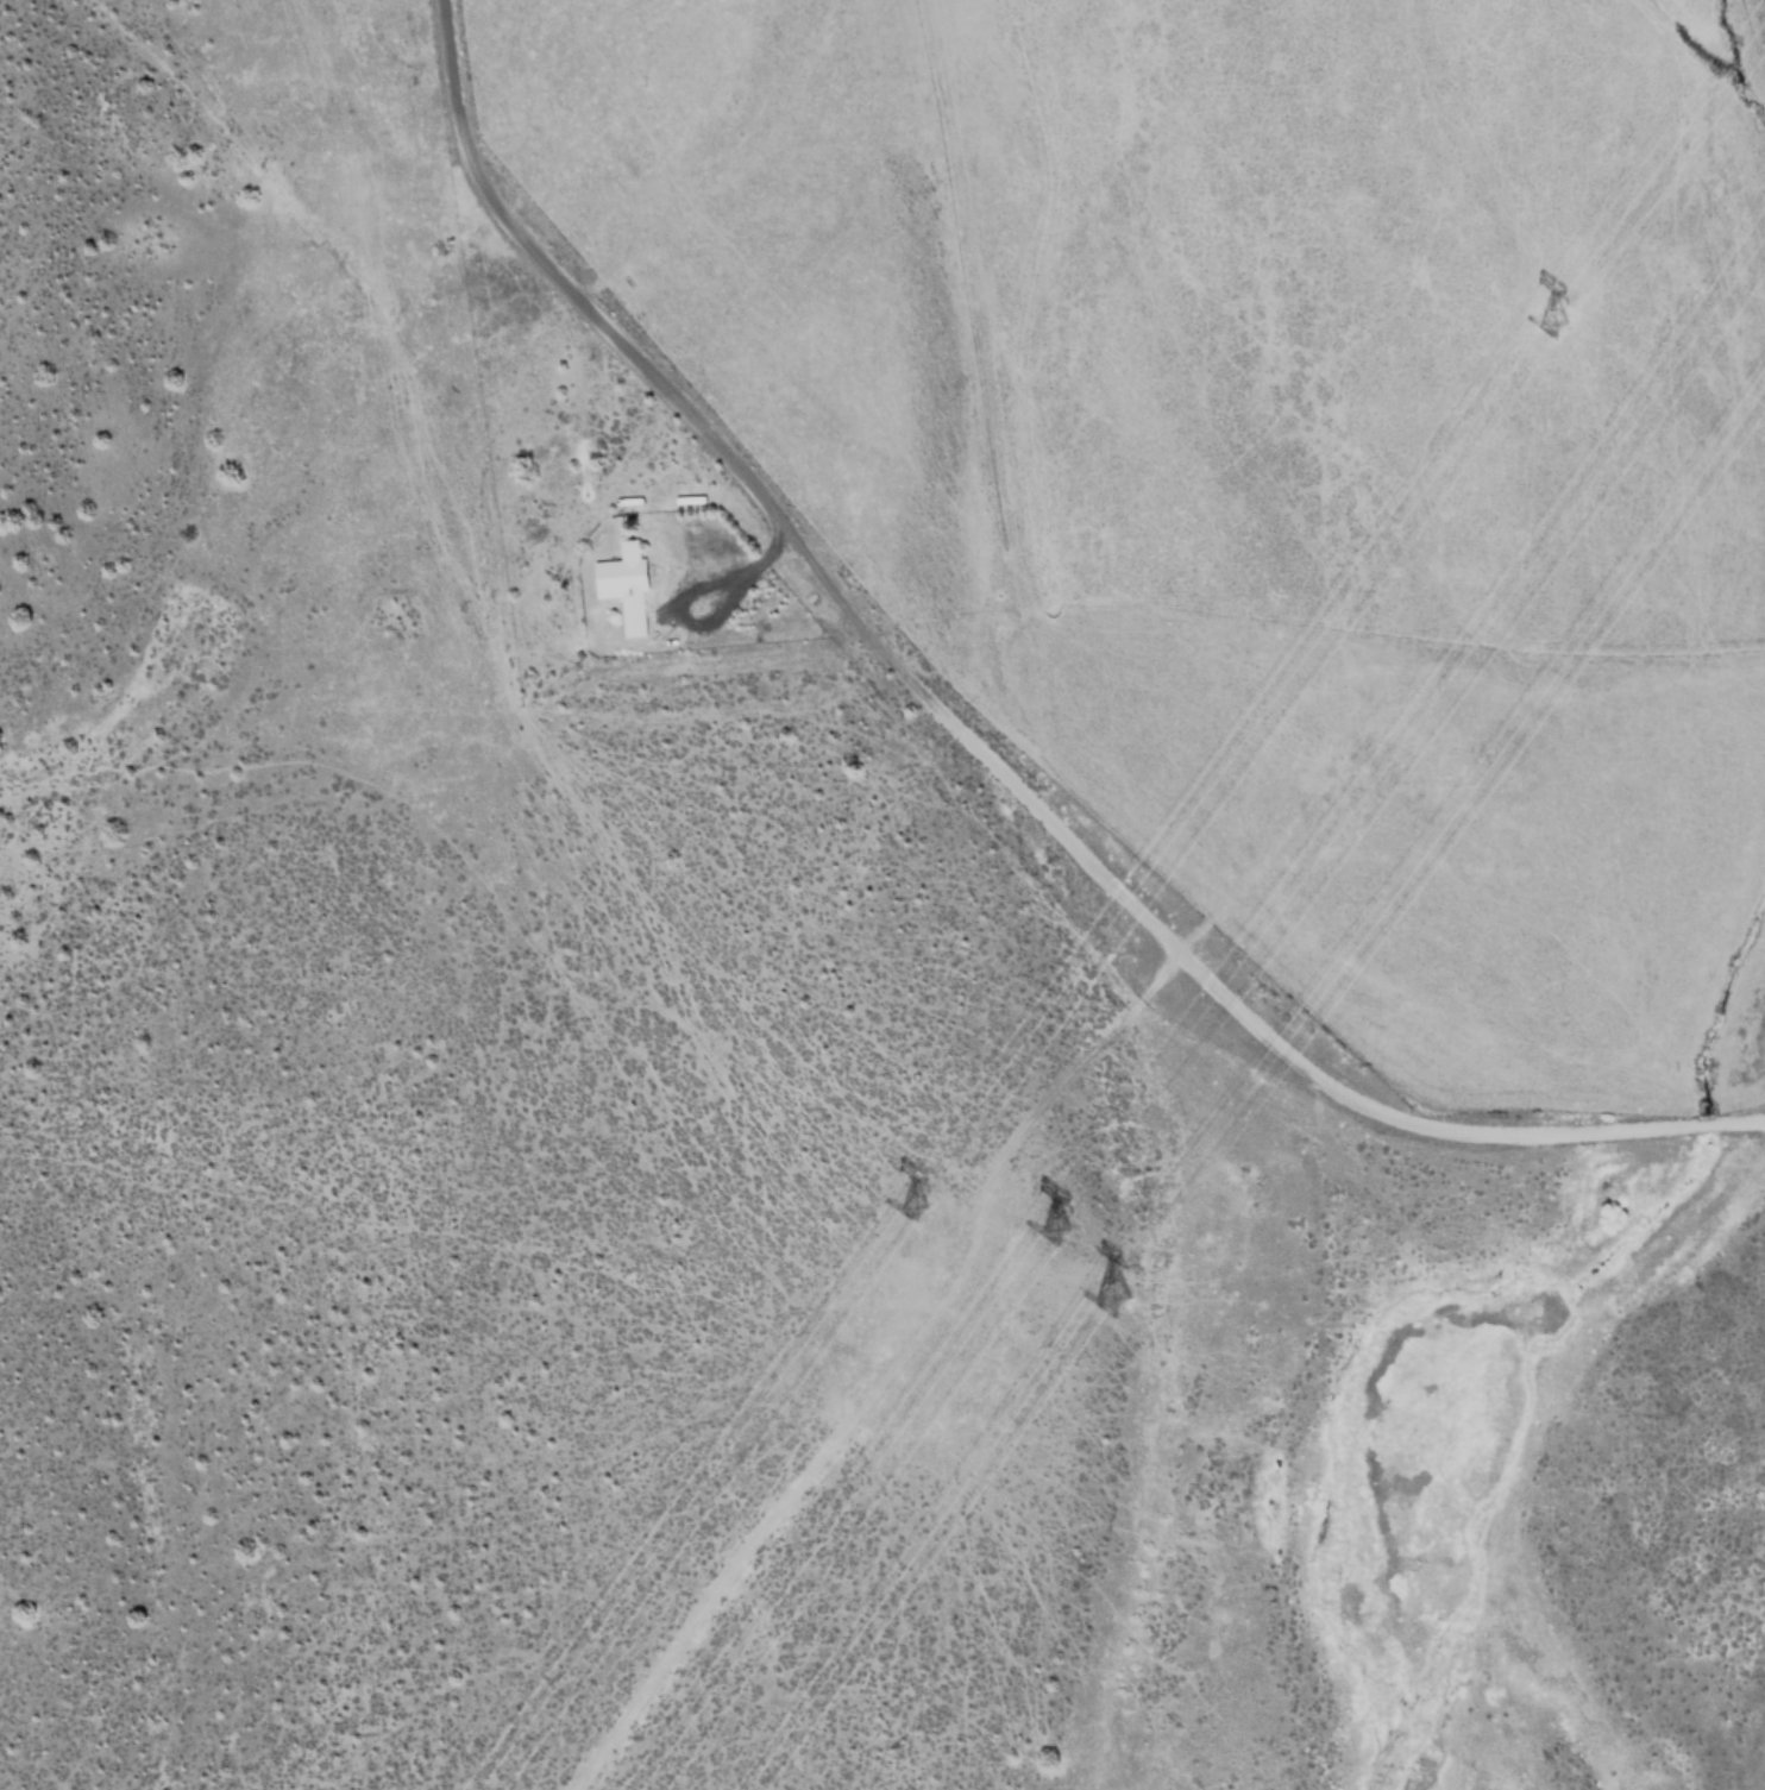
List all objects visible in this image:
power tower: (1549, 315)
building: (629, 584)
road: (973, 747)
power tower: (913, 1204)
power tower: (1063, 1223)
power tower: (1128, 1298)
road: (881, 1359)

